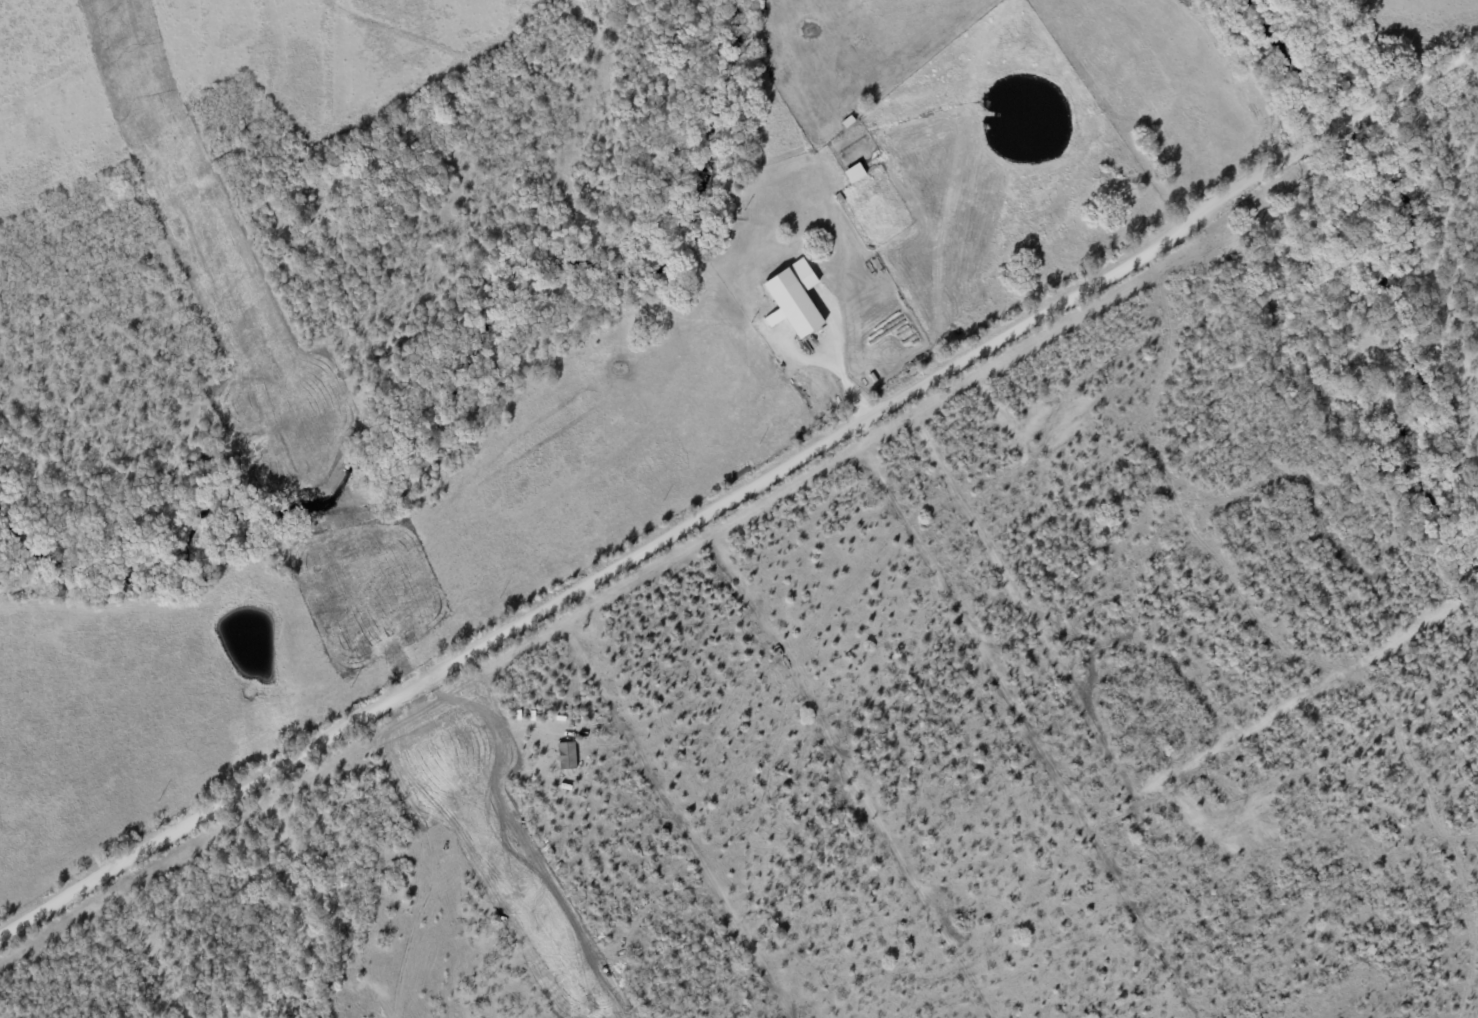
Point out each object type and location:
road: (1407, 87)
building: (854, 172)
building: (794, 298)
road: (846, 385)
road: (670, 536)

